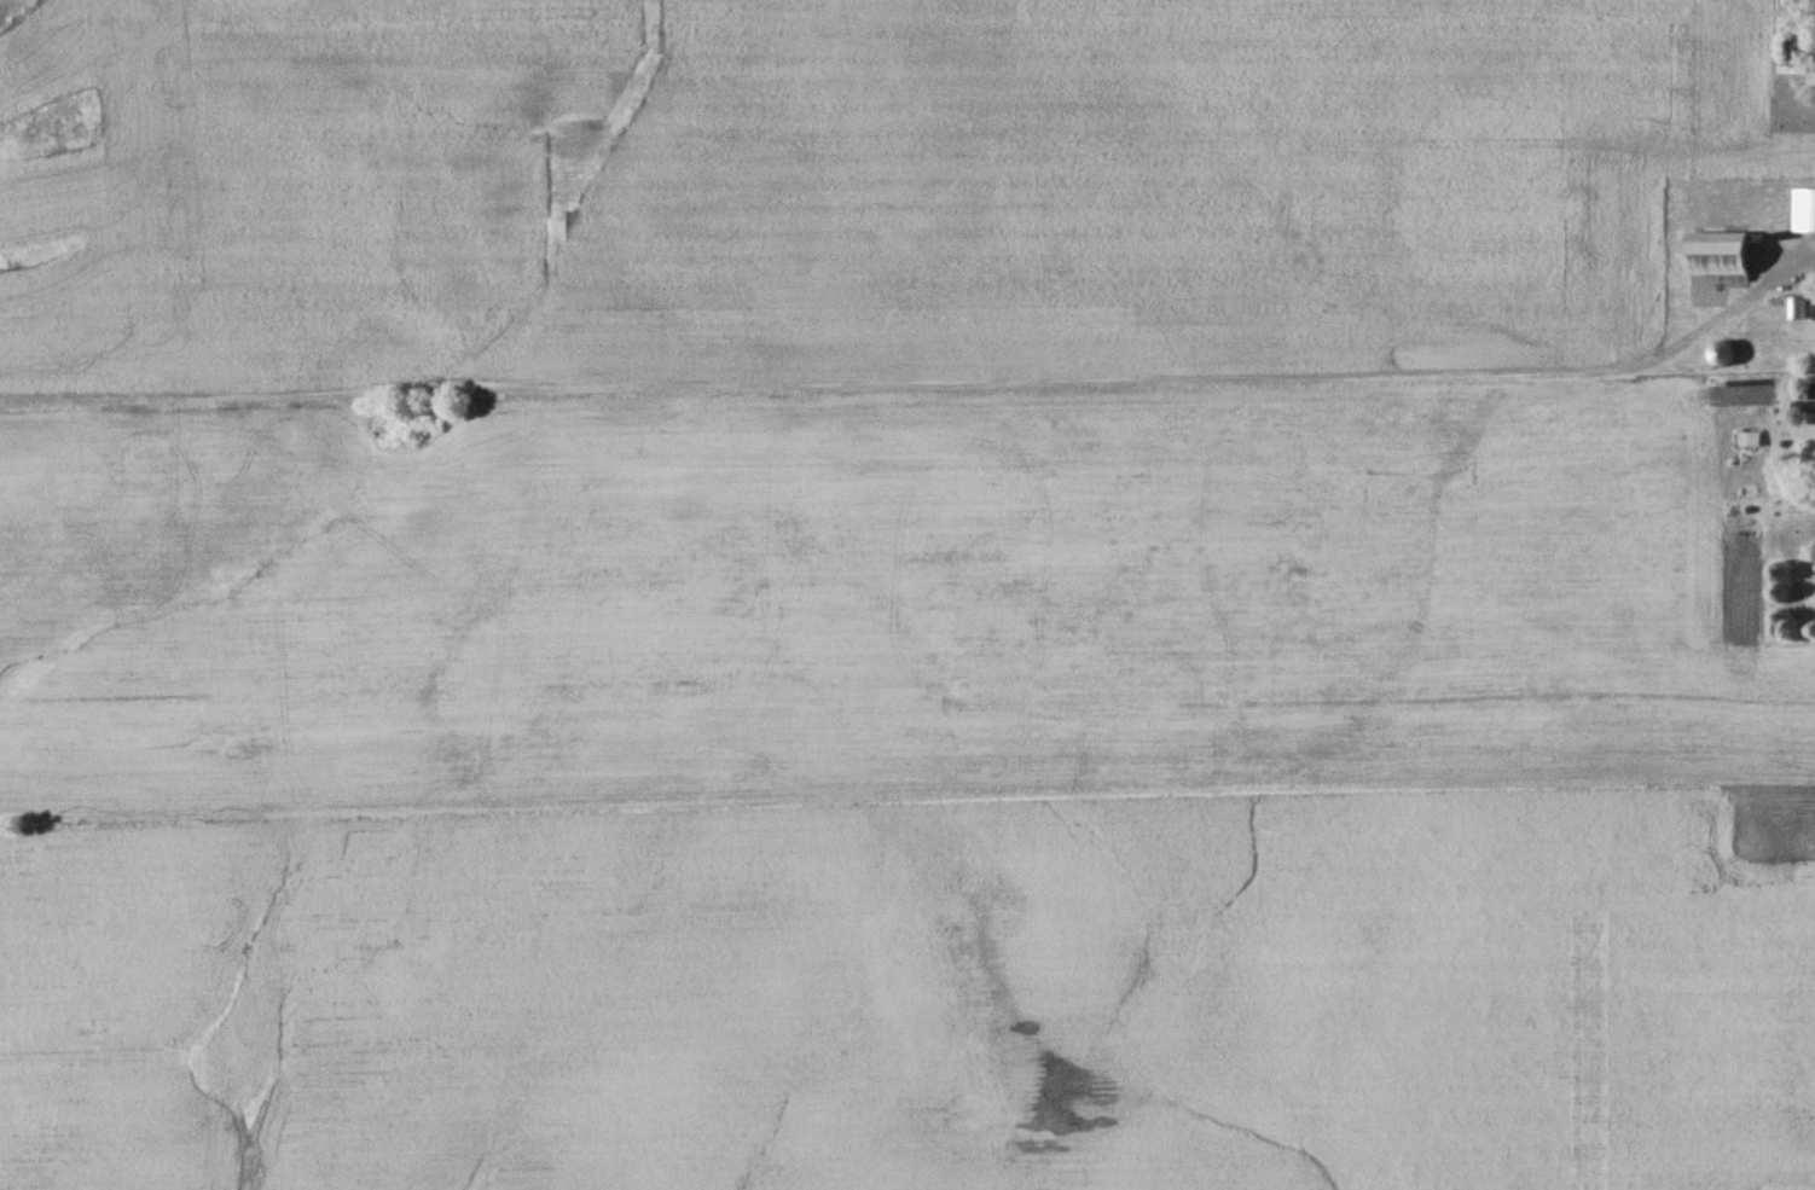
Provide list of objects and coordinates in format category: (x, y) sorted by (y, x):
building: (1794, 50)
building: (1803, 209)
road: (1809, 254)
building: (1715, 255)
building: (1793, 308)
building: (1718, 353)

